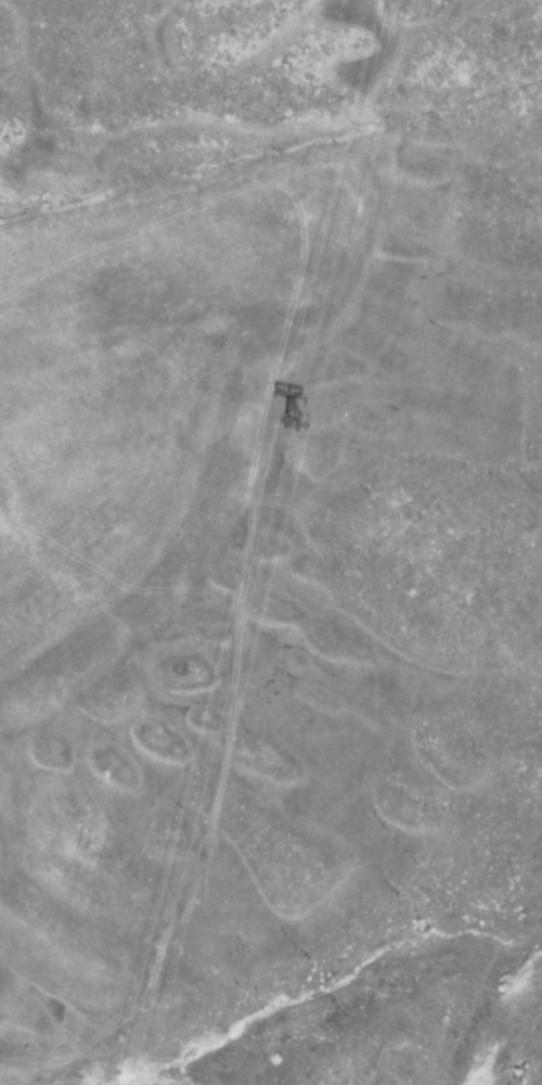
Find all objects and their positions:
power tower: (293, 425)

